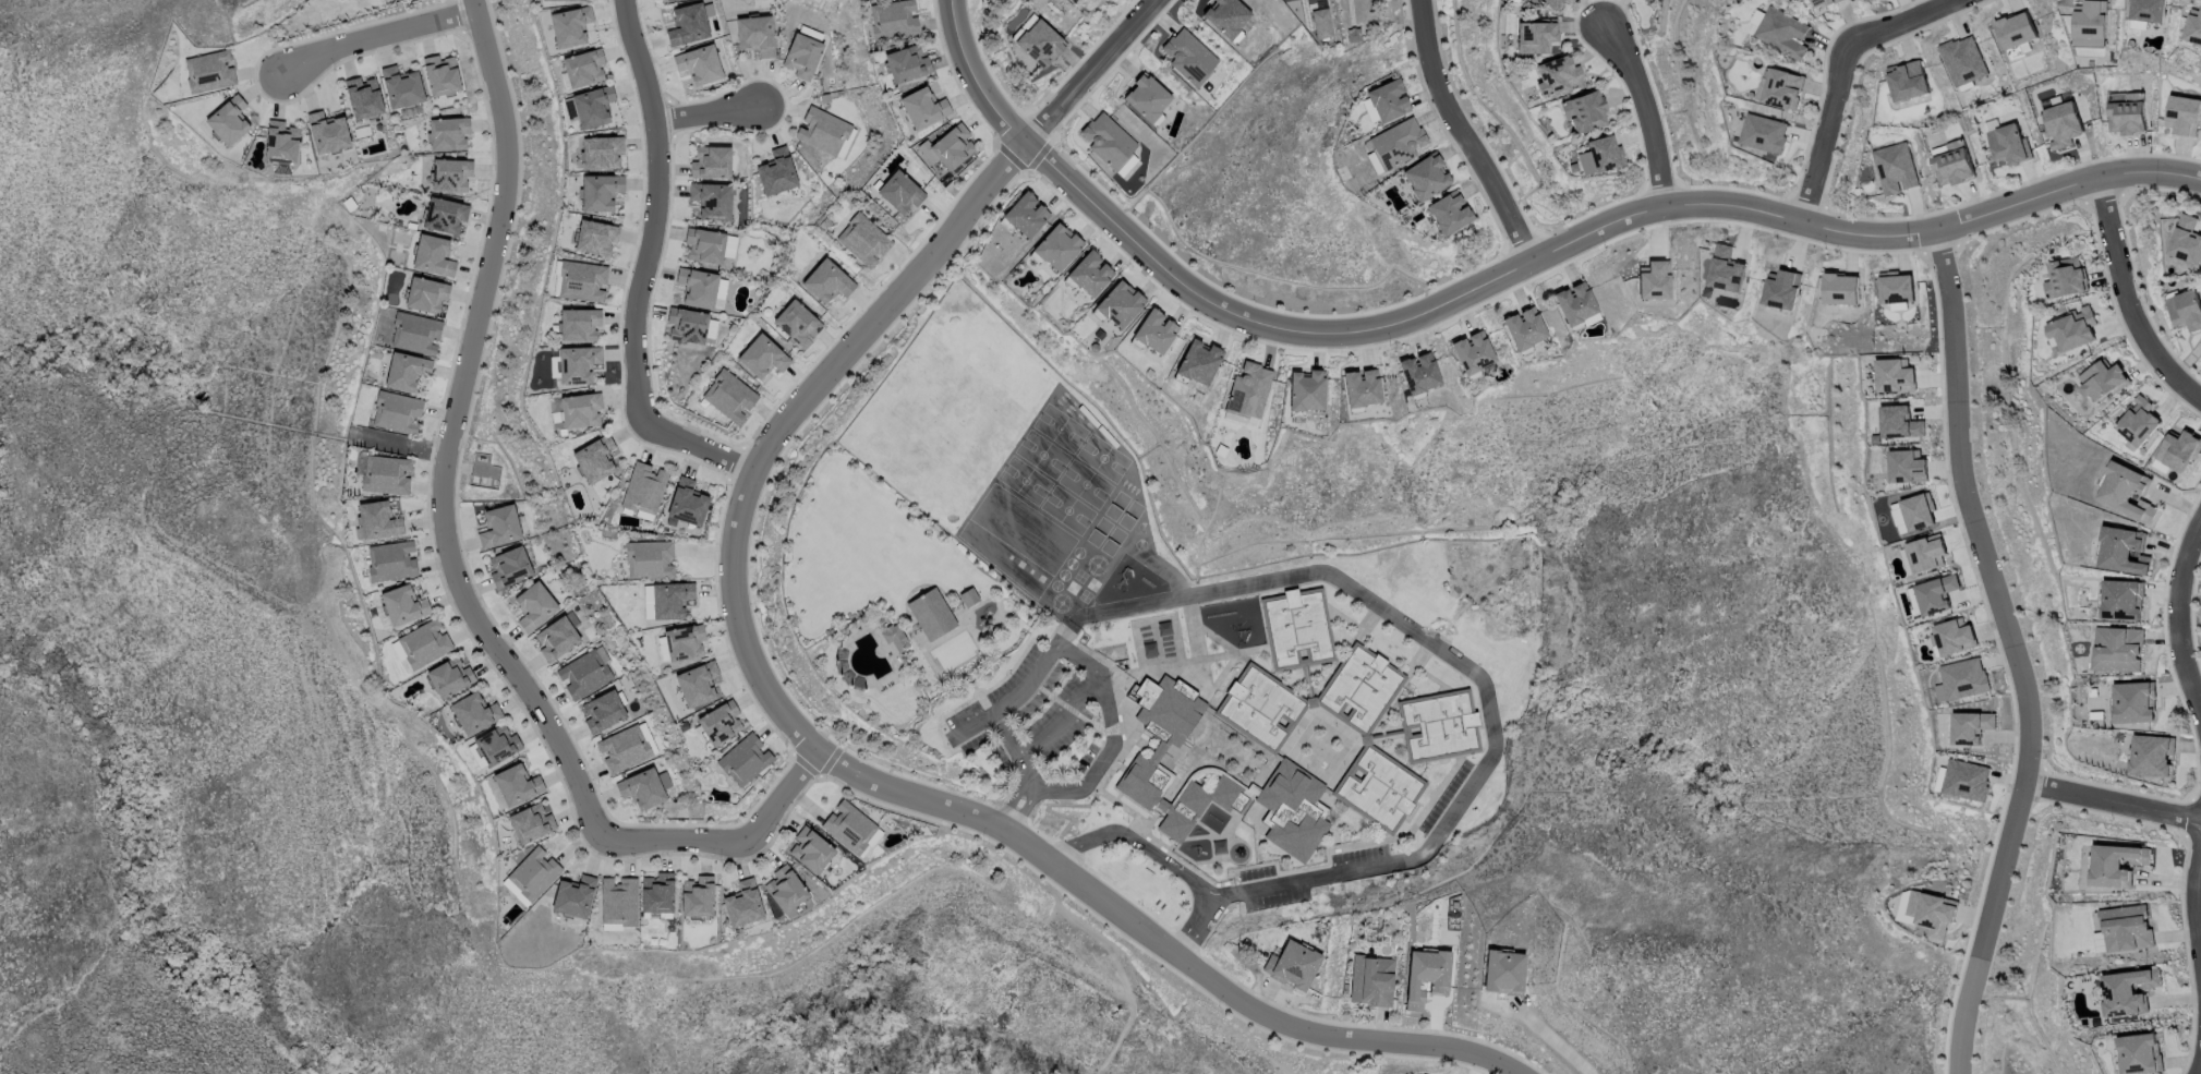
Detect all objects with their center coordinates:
building: (567, 0)
building: (1551, 2)
building: (1823, 3)
building: (2146, 10)
building: (1225, 16)
building: (893, 19)
building: (2090, 20)
building: (687, 24)
building: (569, 26)
building: (2193, 28)
building: (1780, 32)
building: (2016, 32)
building: (755, 34)
building: (1536, 36)
road: (372, 37)
building: (1040, 43)
building: (802, 55)
building: (1188, 56)
building: (1963, 61)
building: (906, 63)
building: (699, 64)
building: (583, 67)
building: (209, 71)
road: (1089, 71)
building: (440, 74)
building: (1558, 75)
road: (1839, 79)
building: (1907, 81)
building: (401, 86)
building: (1778, 87)
building: (363, 97)
building: (1147, 97)
building: (1382, 102)
building: (592, 106)
road: (1644, 106)
building: (923, 107)
road: (716, 110)
building: (1585, 111)
building: (2181, 114)
building: (2127, 118)
building: (228, 120)
building: (2064, 123)
building: (823, 130)
building: (327, 132)
building: (448, 133)
building: (1763, 133)
road: (1464, 134)
building: (1108, 140)
building: (1395, 143)
building: (2009, 144)
building: (947, 146)
building: (602, 152)
building: (1600, 155)
building: (711, 162)
building: (1952, 167)
building: (1895, 168)
building: (776, 171)
building: (451, 174)
building: (1422, 178)
building: (600, 191)
building: (900, 192)
building: (712, 200)
building: (1025, 214)
building: (445, 215)
building: (1446, 215)
building: (595, 237)
building: (863, 239)
building: (2186, 239)
building: (704, 245)
building: (1056, 245)
building: (433, 255)
road: (644, 268)
building: (1726, 269)
building: (1090, 273)
road: (1505, 273)
building: (2067, 277)
building: (1656, 279)
building: (582, 280)
building: (826, 281)
building: (697, 287)
building: (1896, 288)
building: (1840, 289)
building: (1781, 290)
building: (425, 294)
road: (2128, 300)
building: (1120, 303)
building: (1576, 303)
building: (2186, 309)
building: (796, 322)
building: (579, 324)
building: (687, 325)
building: (2075, 329)
building: (1156, 330)
building: (1522, 330)
building: (415, 333)
building: (1471, 354)
building: (762, 357)
building: (1198, 362)
building: (577, 363)
building: (406, 371)
building: (1416, 374)
building: (1895, 375)
building: (2103, 381)
building: (1247, 389)
building: (1306, 389)
building: (1358, 389)
building: (729, 395)
building: (580, 409)
building: (397, 412)
building: (555, 413)
building: (2139, 421)
building: (1900, 422)
building: (2178, 451)
building: (594, 458)
building: (1907, 466)
building: (384, 473)
building: (643, 488)
building: (2127, 491)
building: (687, 502)
building: (1916, 511)
building: (1897, 518)
building: (376, 520)
building: (499, 526)
building: (2120, 550)
building: (1926, 554)
building: (650, 558)
road: (451, 559)
building: (390, 560)
building: (509, 567)
building: (1935, 593)
building: (670, 599)
building: (2121, 599)
building: (403, 604)
building: (534, 605)
park: (875, 614)
building: (931, 614)
road: (2177, 624)
building: (1298, 626)
building: (1952, 636)
building: (894, 637)
building: (556, 638)
building: (684, 641)
building: (424, 643)
building: (2117, 649)
road: (2013, 652)
road: (1458, 659)
building: (585, 673)
building: (449, 676)
building: (1962, 677)
building: (697, 683)
building: (1362, 686)
road: (1011, 700)
building: (2133, 701)
building: (1260, 708)
building: (603, 711)
building: (474, 712)
road: (1065, 717)
building: (2095, 717)
building: (719, 722)
building: (1440, 723)
building: (1970, 725)
road: (1114, 734)
building: (497, 745)
road: (1016, 748)
building: (1154, 755)
building: (2151, 755)
building: (745, 759)
road: (842, 768)
building: (1964, 780)
building: (517, 784)
building: (1380, 786)
building: (641, 788)
road: (2113, 800)
road: (1012, 801)
building: (1294, 807)
road: (1025, 810)
building: (530, 822)
building: (848, 825)
road: (1084, 842)
building: (811, 849)
building: (2114, 864)
road: (1168, 865)
building: (533, 872)
building: (785, 888)
building: (515, 892)
building: (657, 893)
building: (573, 896)
building: (697, 896)
building: (618, 901)
building: (742, 903)
road: (2196, 907)
building: (1926, 910)
road: (1196, 925)
building: (2124, 929)
building: (1292, 964)
building: (1508, 970)
building: (1429, 975)
building: (1374, 978)
building: (2128, 991)
road: (1555, 1040)
building: (2139, 1053)
road: (2200, 1069)

